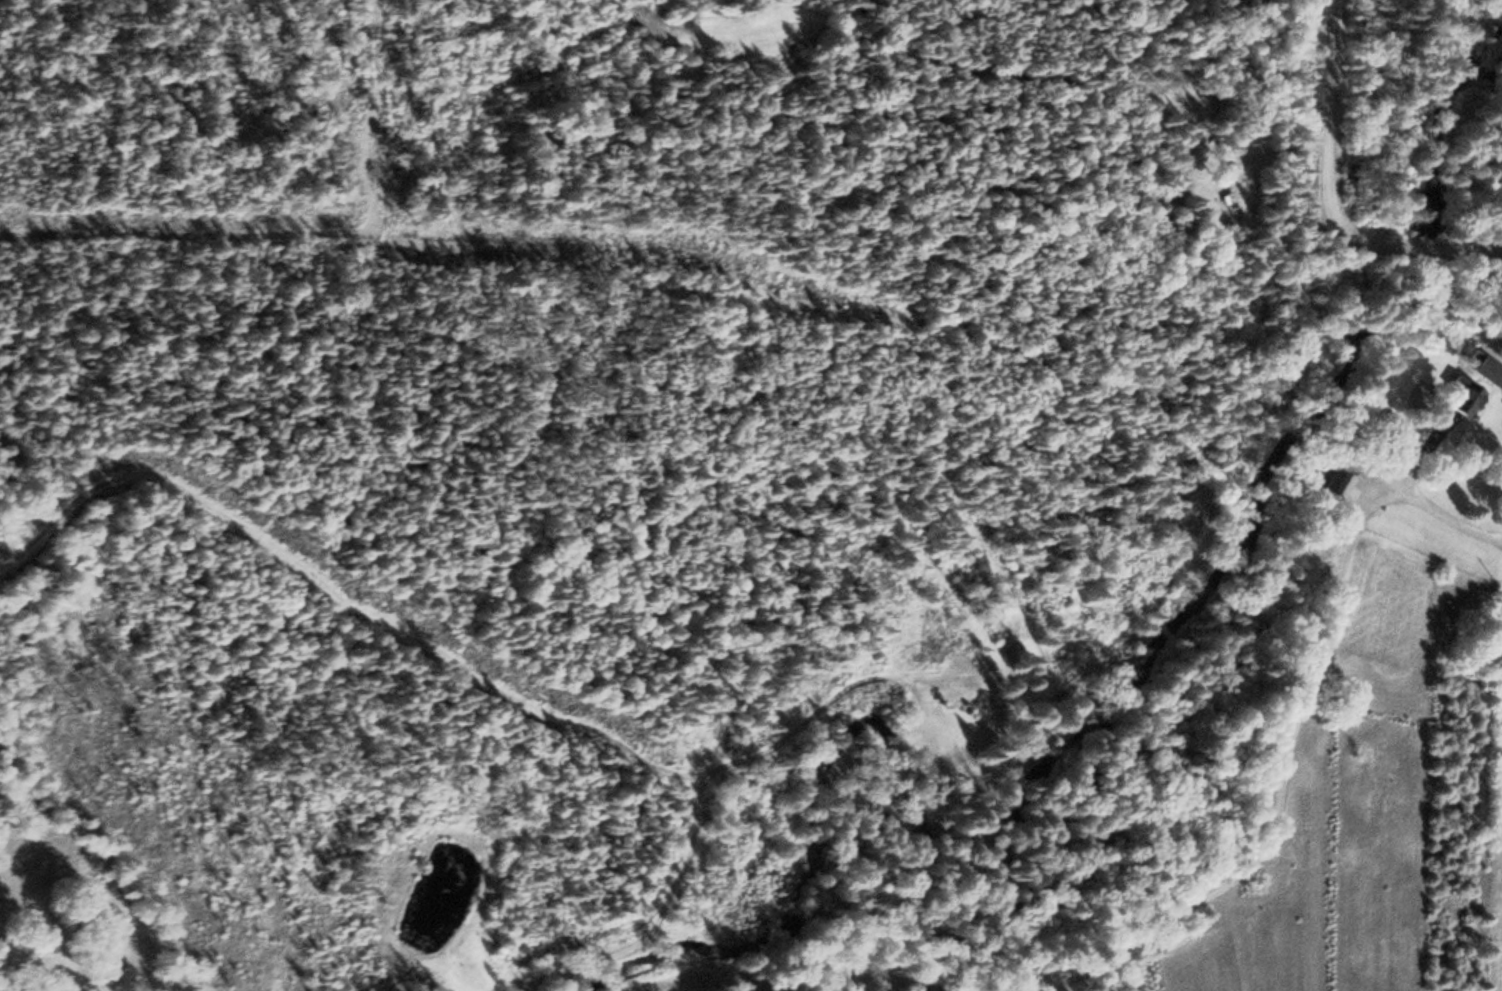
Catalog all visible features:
road: (1332, 200)
building: (1480, 369)
building: (1453, 395)
building: (1326, 482)
road: (1424, 505)
road: (1273, 809)

